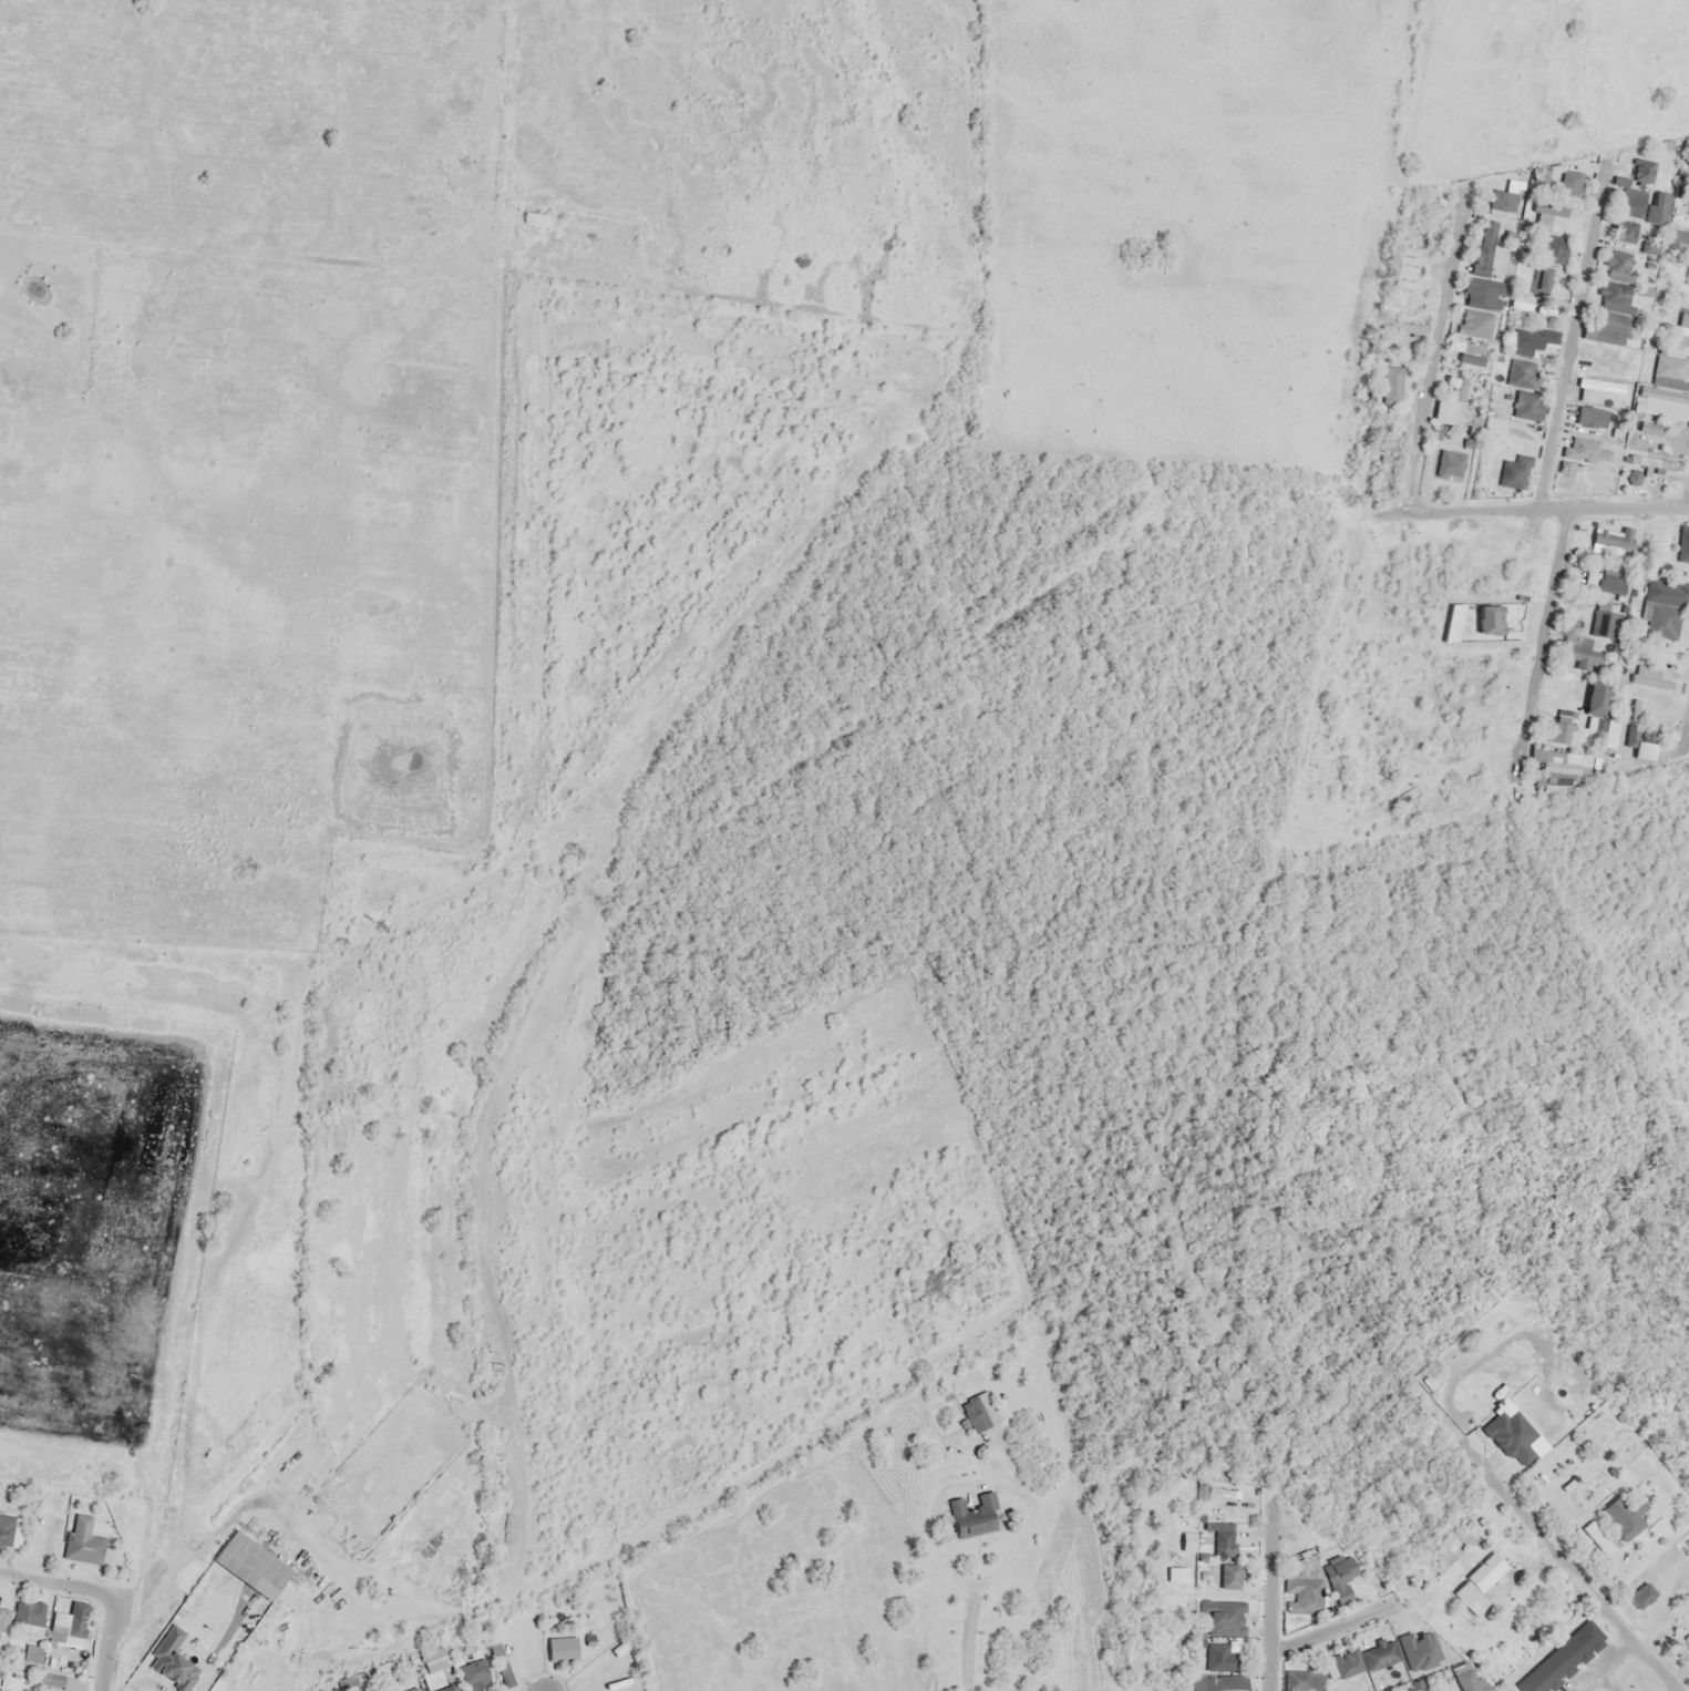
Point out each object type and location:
building: (1539, 175)
building: (1657, 207)
building: (1628, 215)
building: (1678, 243)
building: (1483, 249)
building: (1554, 249)
building: (1403, 273)
building: (1533, 288)
building: (1613, 299)
building: (1398, 327)
road: (1574, 335)
building: (1530, 340)
road: (1436, 349)
building: (1467, 355)
building: (1673, 357)
building: (1521, 373)
building: (1391, 385)
building: (1589, 391)
building: (1458, 400)
building: (1660, 401)
building: (1589, 428)
building: (1587, 450)
building: (1449, 463)
building: (1514, 471)
building: (1383, 472)
road: (1688, 502)
road: (1524, 511)
building: (1615, 540)
building: (1604, 580)
building: (1489, 619)
building: (1660, 621)
building: (1604, 623)
road: (1542, 644)
building: (1577, 653)
building: (1588, 693)
building: (1557, 729)
building: (1609, 732)
road: (1686, 735)
building: (1642, 740)
building: (1561, 761)
building: (972, 1516)
building: (11, 1530)
building: (1223, 1538)
building: (83, 1541)
building: (253, 1557)
building: (1229, 1576)
building: (1339, 1577)
road: (59, 1580)
road: (1275, 1597)
building: (29, 1612)
building: (1225, 1618)
building: (73, 1625)
road: (1331, 1630)
road: (103, 1640)
road: (969, 1643)
building: (562, 1648)
building: (32, 1653)
building: (167, 1654)
building: (1222, 1657)
road: (1648, 1658)
building: (1562, 1659)
building: (1336, 1666)
building: (436, 1668)
building: (62, 1681)
building: (1218, 1683)
building: (4, 1690)
building: (410, 1690)

